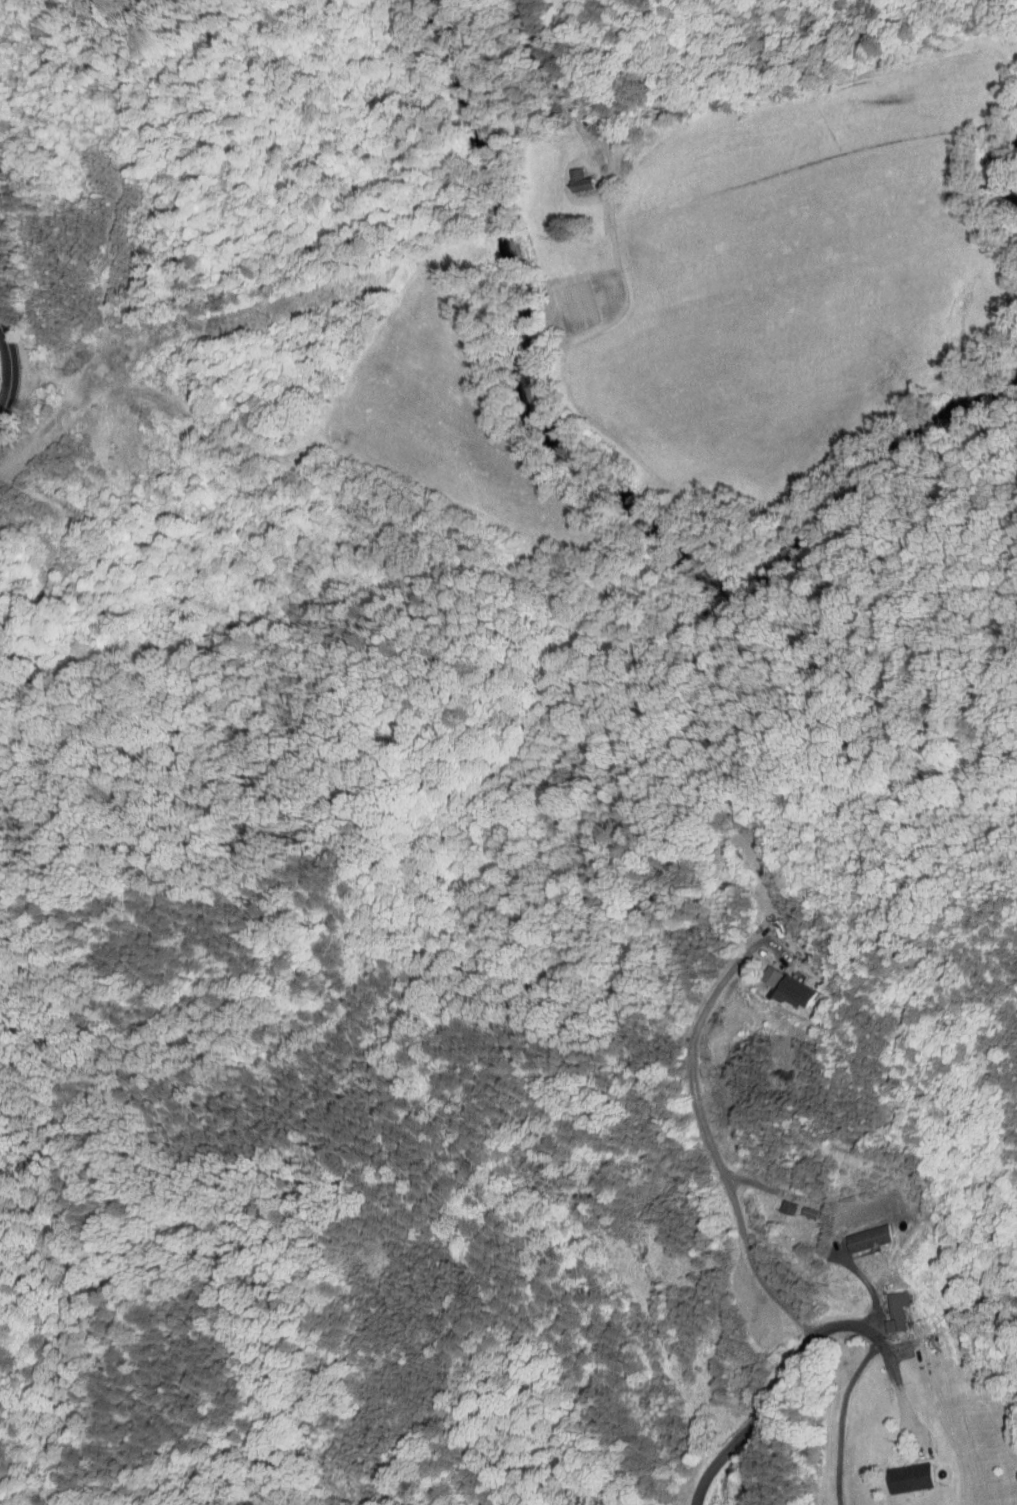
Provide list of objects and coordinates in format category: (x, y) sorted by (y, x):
road: (596, 144)
building: (568, 174)
road: (6, 375)
building: (758, 971)
building: (769, 976)
building: (792, 992)
road: (685, 1071)
building: (775, 1202)
building: (788, 1207)
building: (856, 1233)
road: (761, 1280)
building: (885, 1305)
building: (897, 1309)
road: (786, 1370)
road: (834, 1416)
building: (910, 1476)

